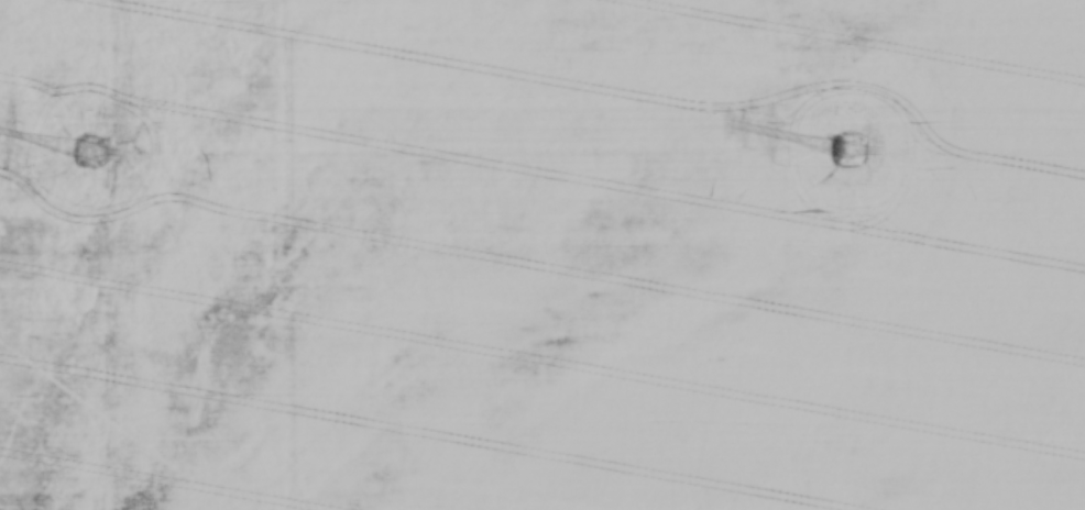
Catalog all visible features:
power tower: (845, 151)
power tower: (90, 156)

